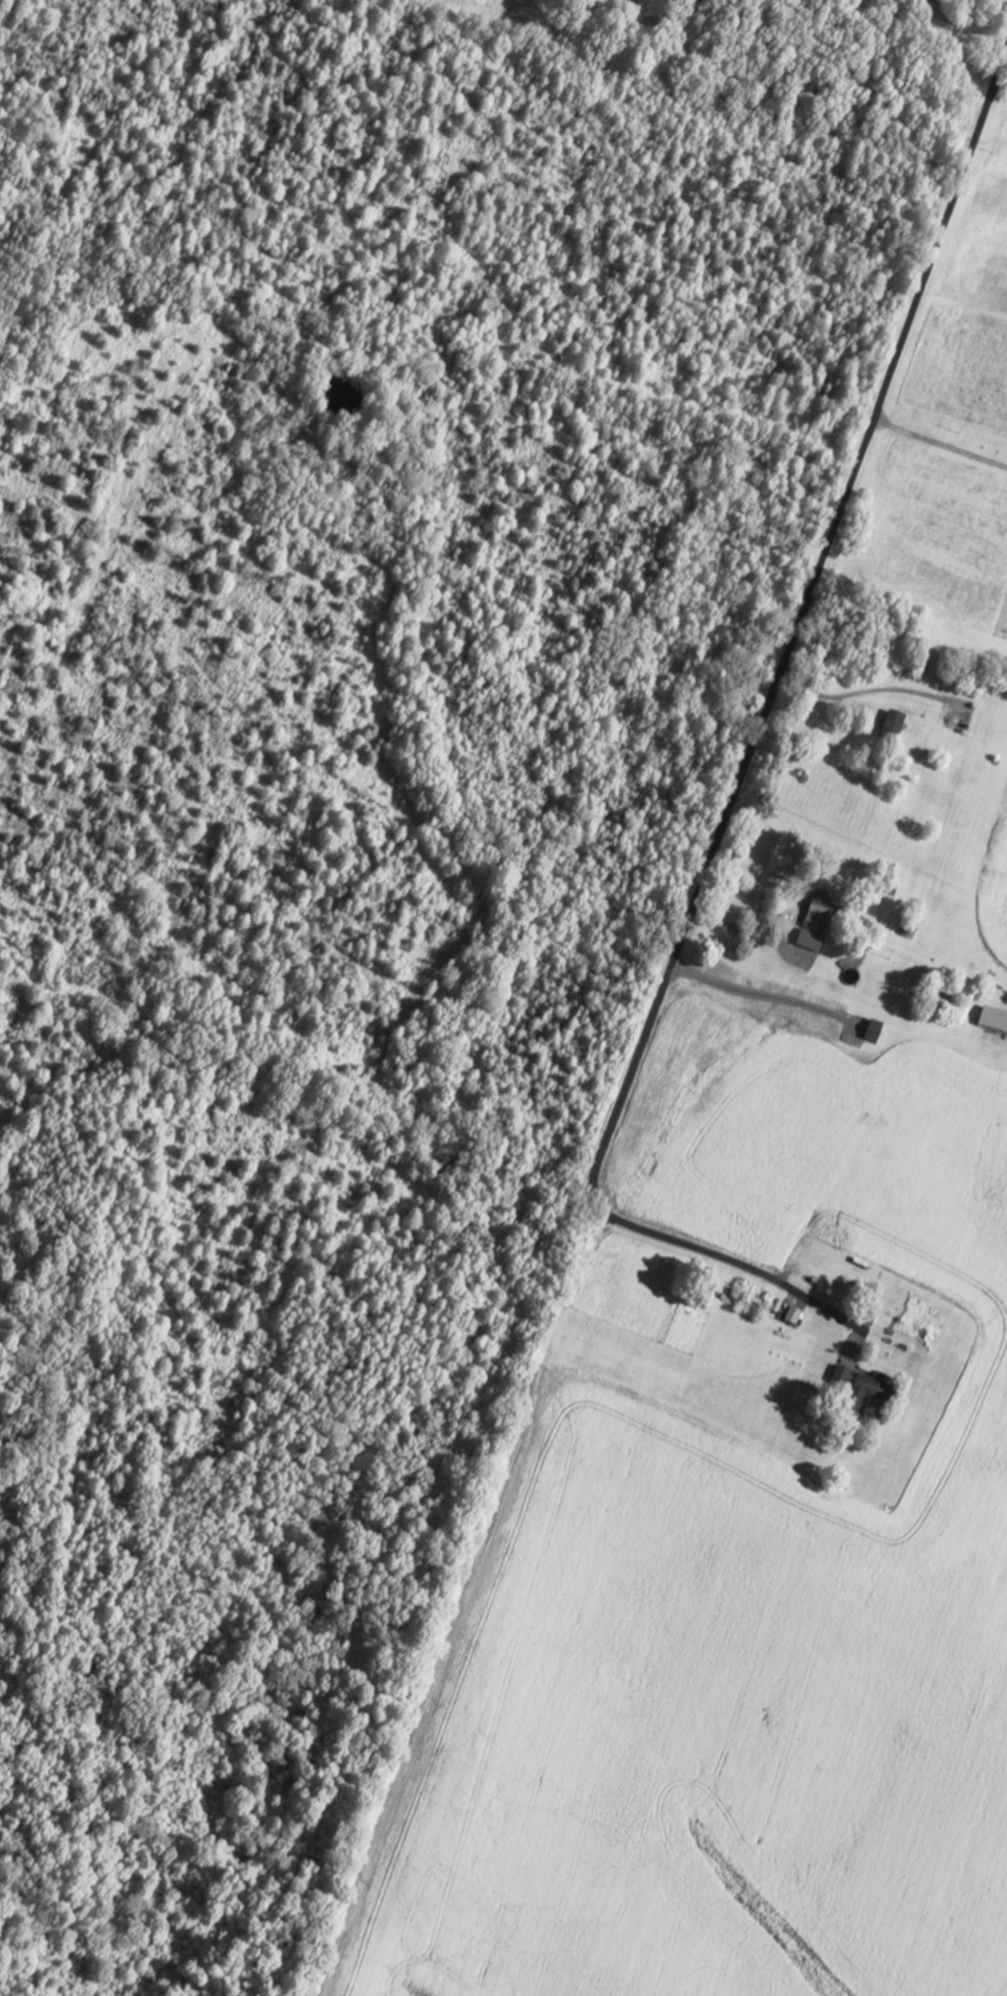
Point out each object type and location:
building: (892, 728)
road: (747, 765)
building: (815, 923)
building: (947, 1002)
building: (993, 1023)
building: (792, 1317)
building: (863, 1390)

